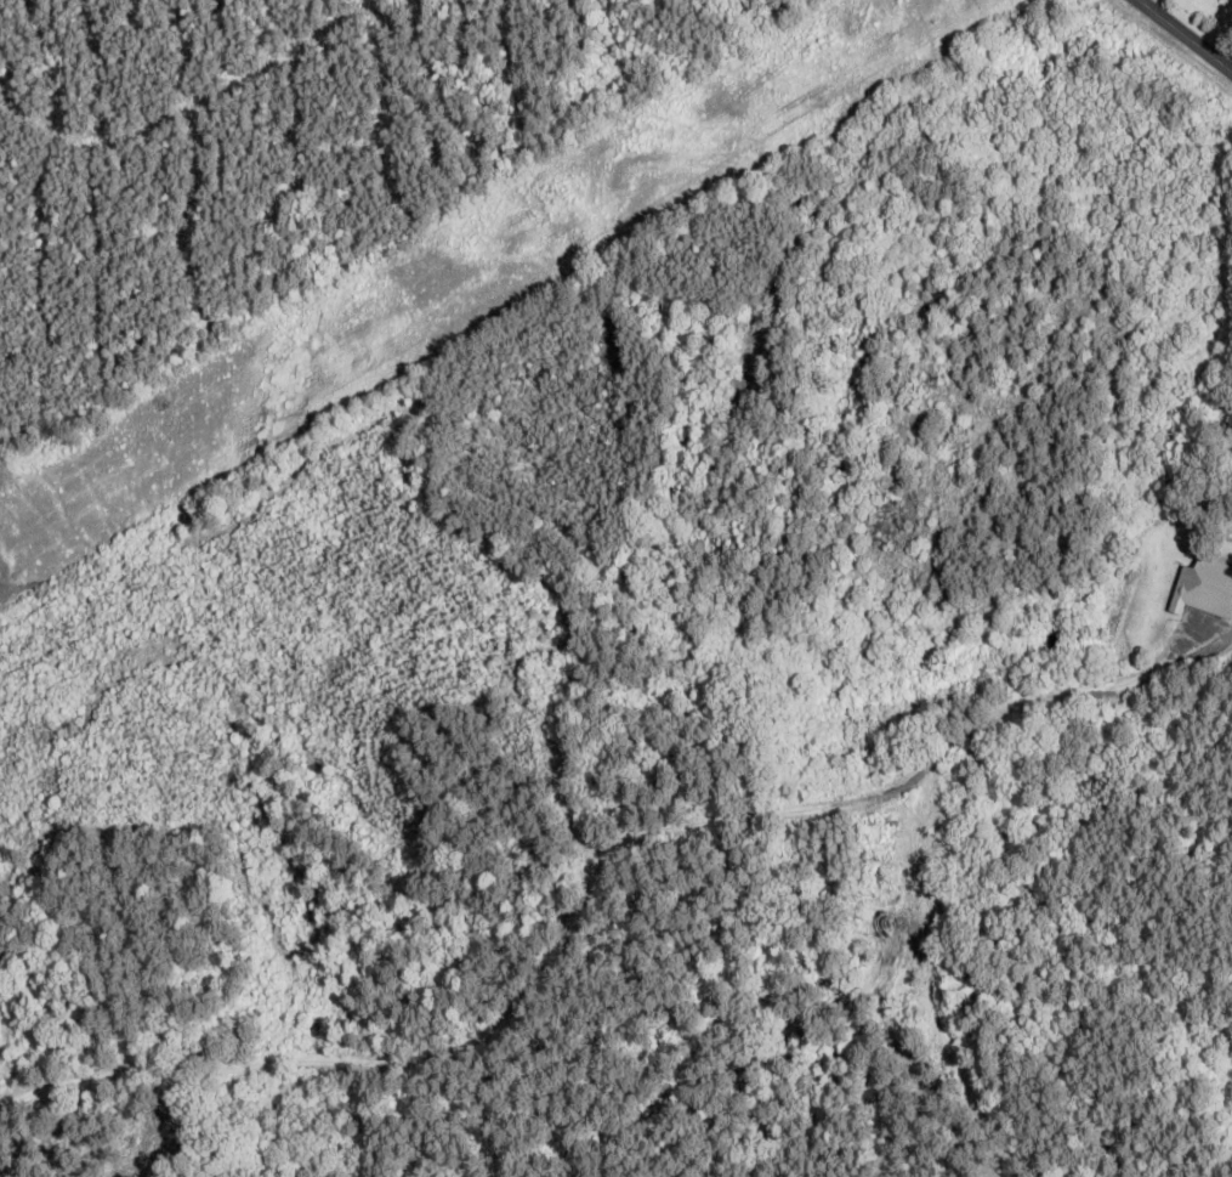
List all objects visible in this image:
road: (1187, 32)
building: (1205, 588)
road: (1230, 633)
road: (1075, 694)
road: (926, 981)
road: (511, 1018)

